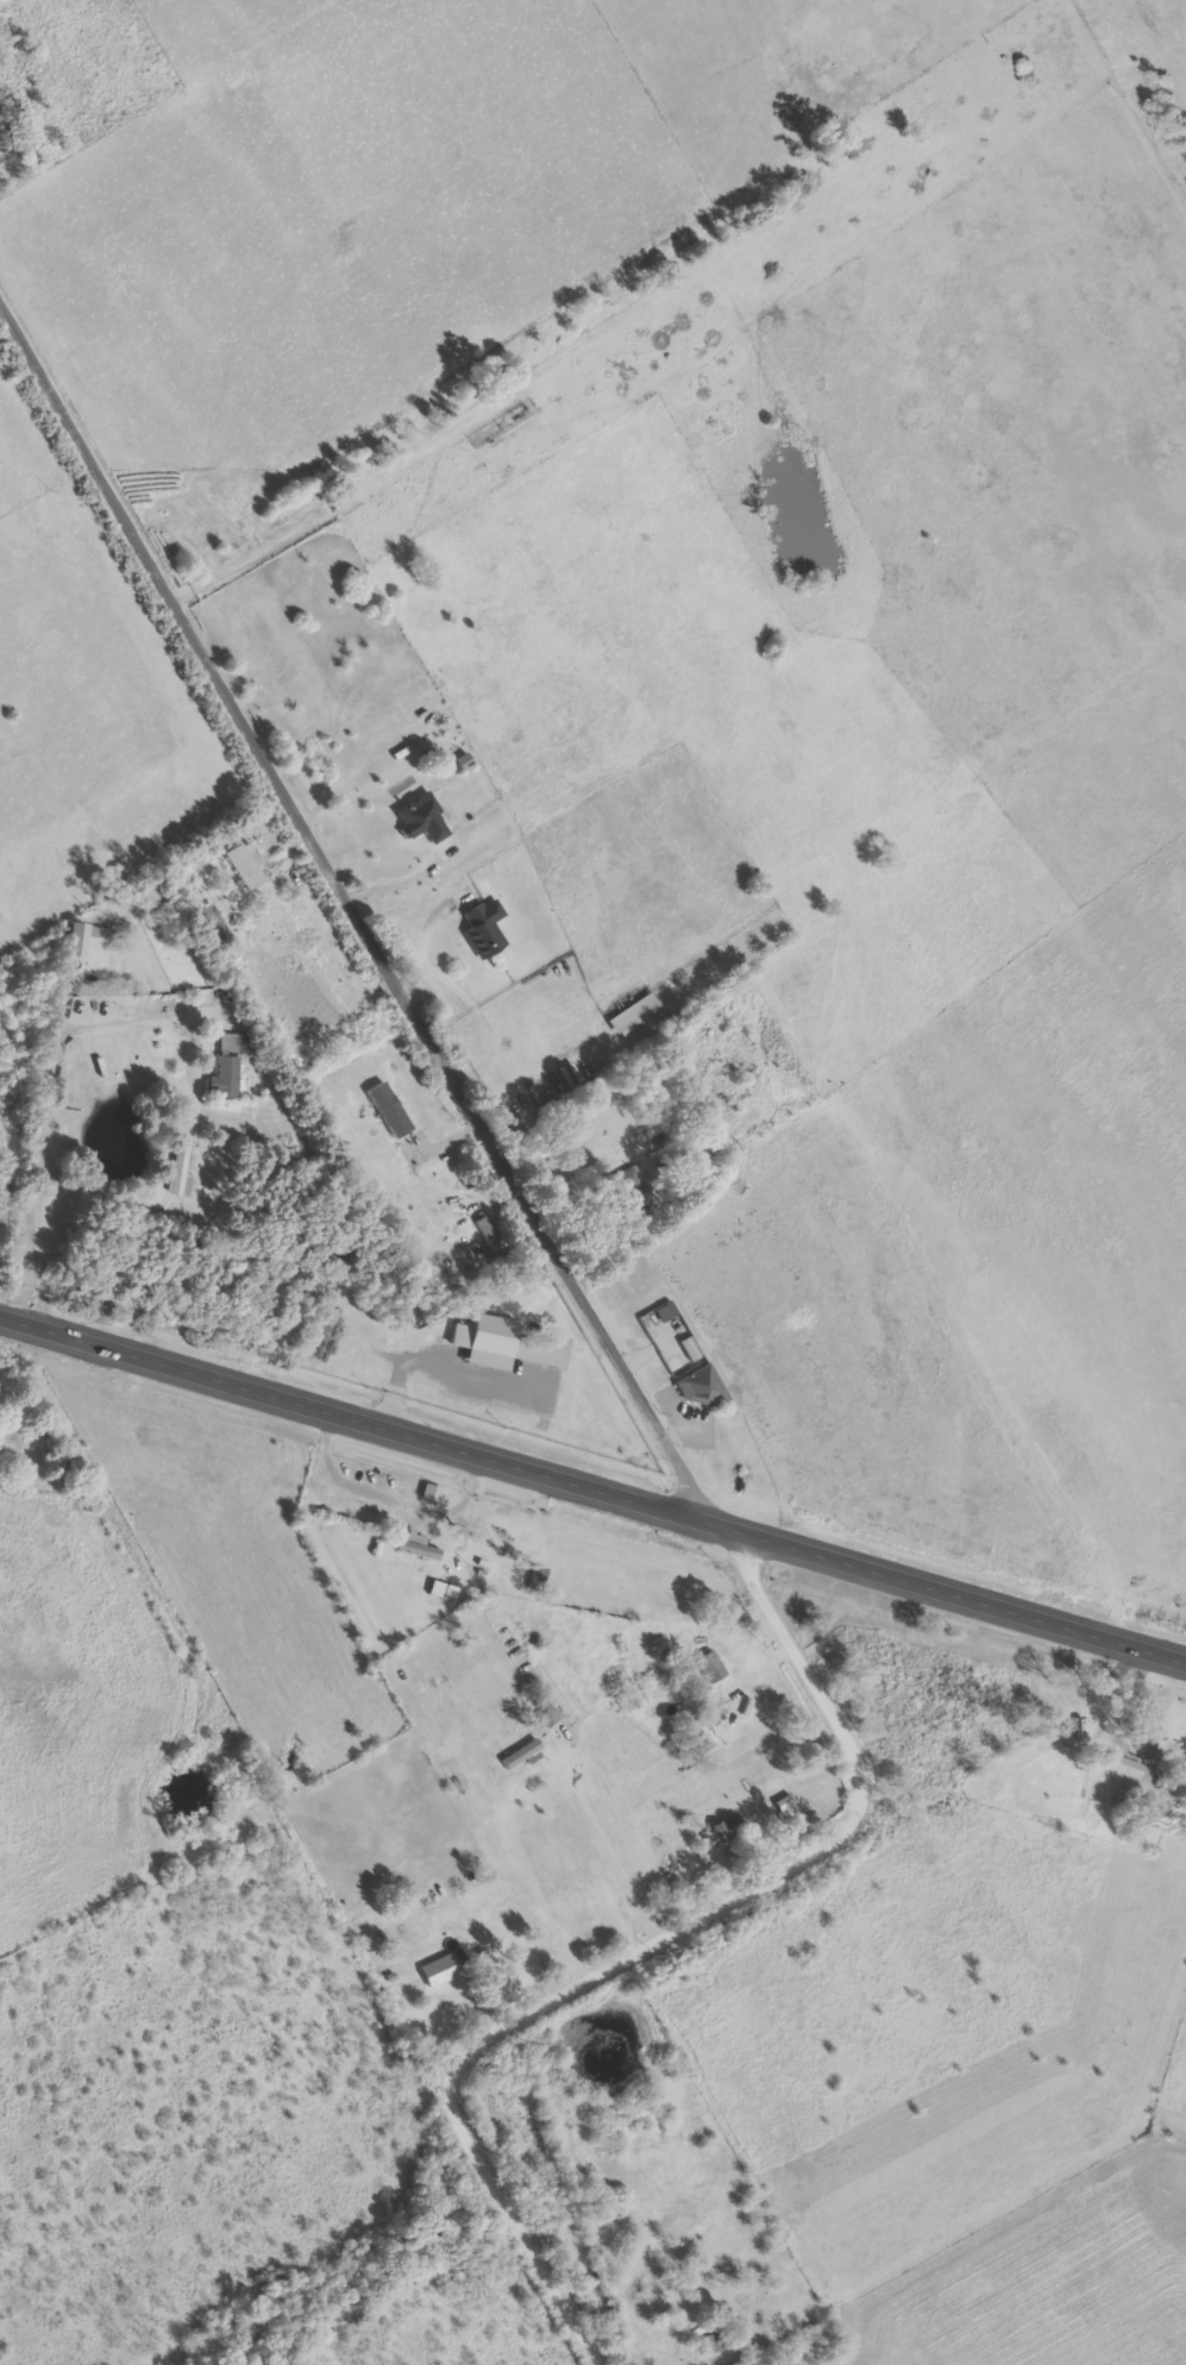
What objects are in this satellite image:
road: (924, 95)
building: (858, 107)
road: (548, 355)
building: (420, 817)
building: (243, 867)
building: (158, 909)
road: (356, 909)
building: (217, 926)
building: (485, 929)
building: (101, 939)
building: (636, 1016)
building: (234, 1043)
building: (226, 1079)
building: (391, 1110)
building: (184, 1169)
building: (635, 1185)
building: (492, 1241)
building: (669, 1312)
building: (504, 1344)
building: (694, 1349)
building: (702, 1388)
road: (592, 1479)
building: (434, 1493)
building: (418, 1548)
building: (538, 1579)
building: (445, 1591)
building: (664, 1649)
building: (711, 1668)
building: (548, 1717)
building: (522, 1754)
building: (1124, 1765)
building: (730, 1833)
road: (650, 1936)
building: (444, 1970)
building: (705, 2342)

